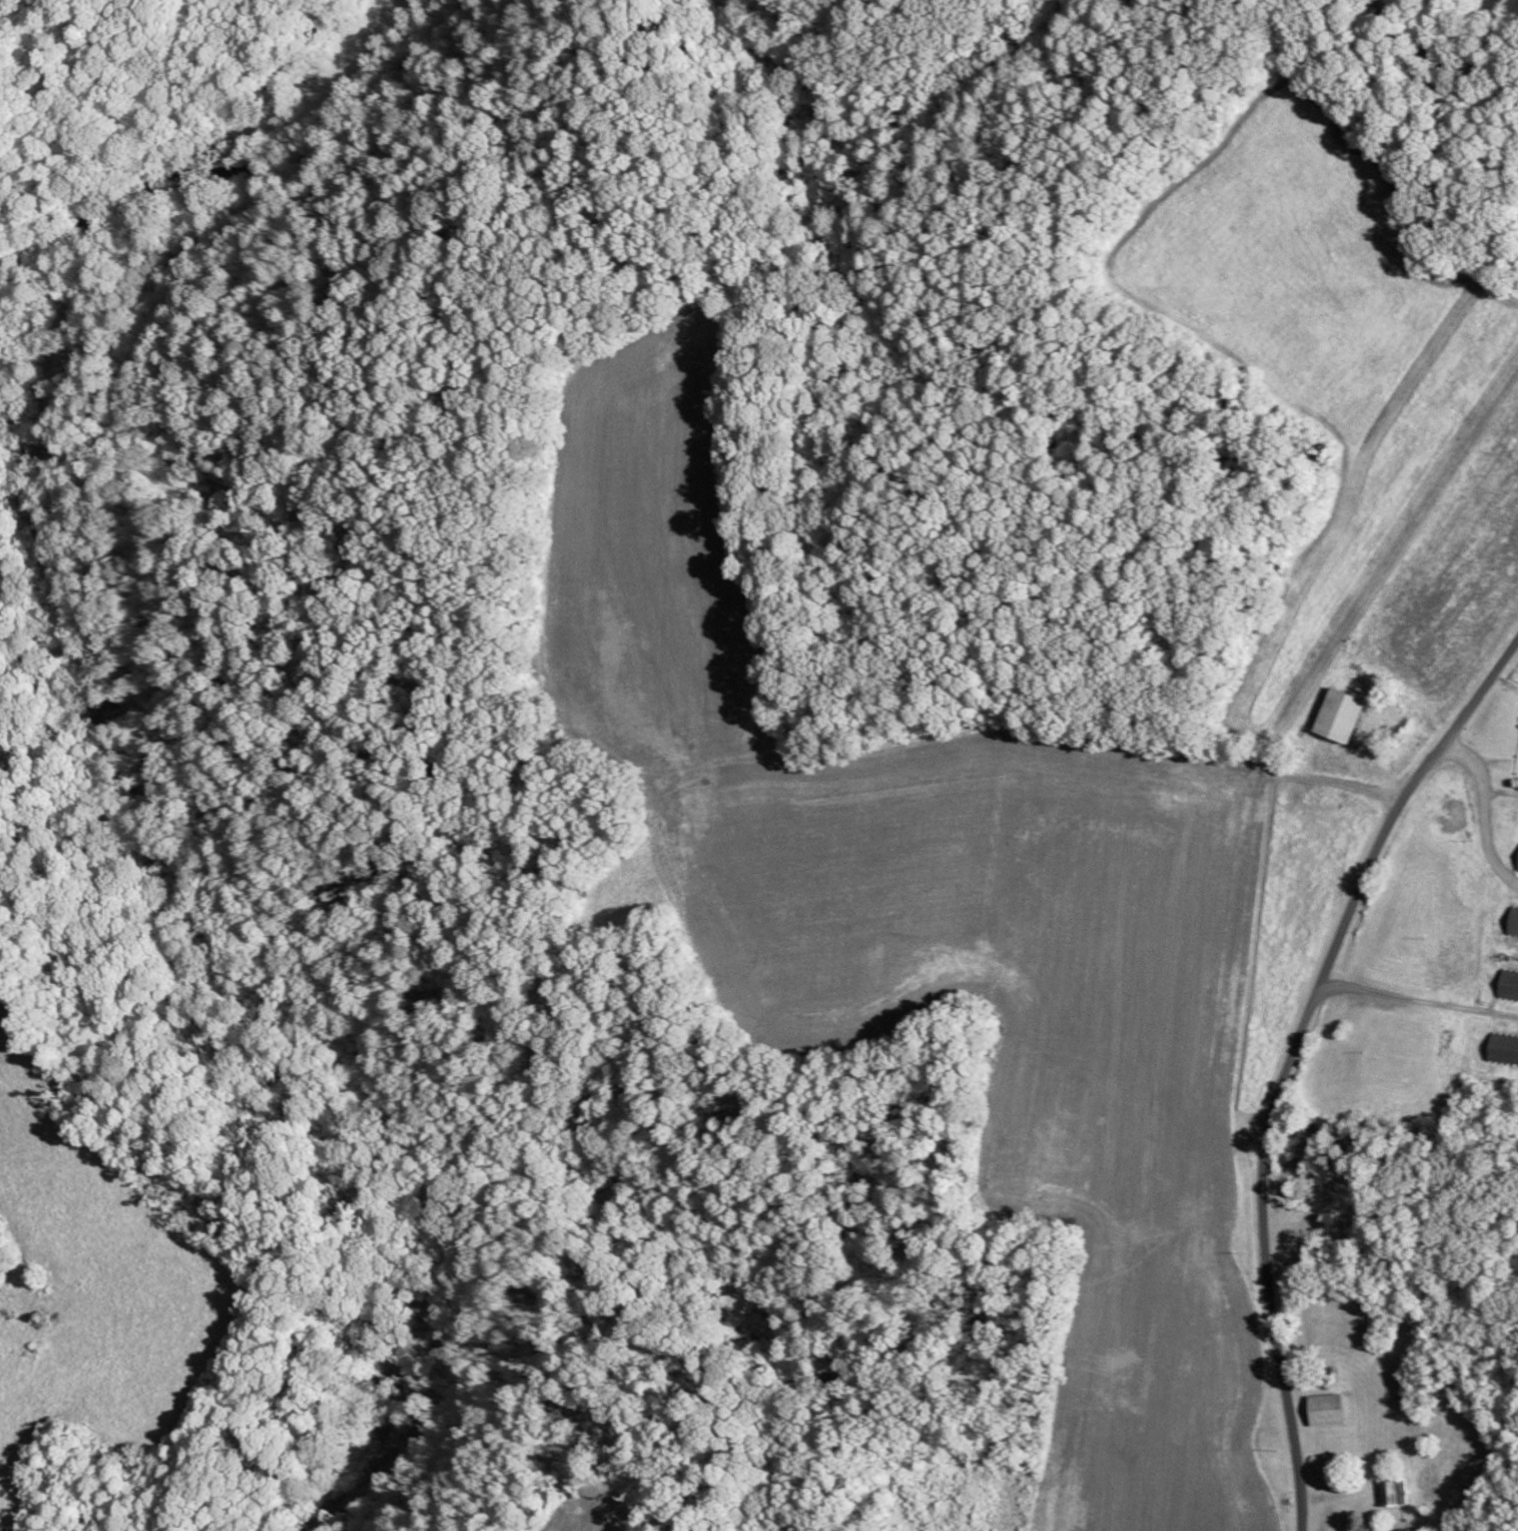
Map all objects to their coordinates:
building: (1332, 716)
road: (1482, 811)
building: (1516, 861)
building: (1510, 924)
building: (1506, 987)
road: (1419, 999)
building: (1501, 1052)
road: (1291, 1059)
building: (1323, 1410)
building: (1393, 1493)

